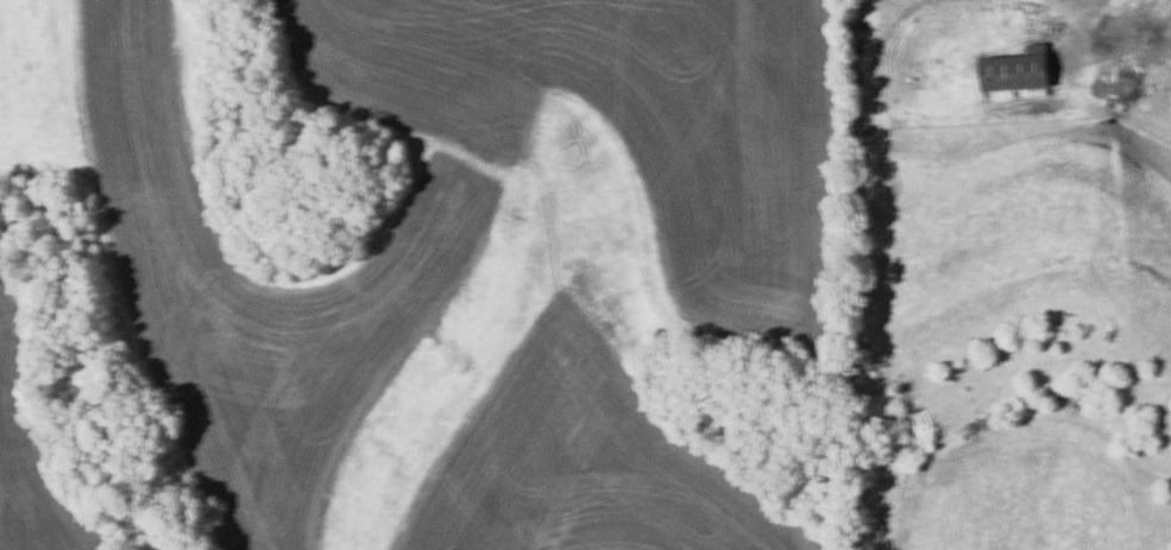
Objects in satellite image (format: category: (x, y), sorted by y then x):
building: (1019, 71)
building: (1069, 391)

